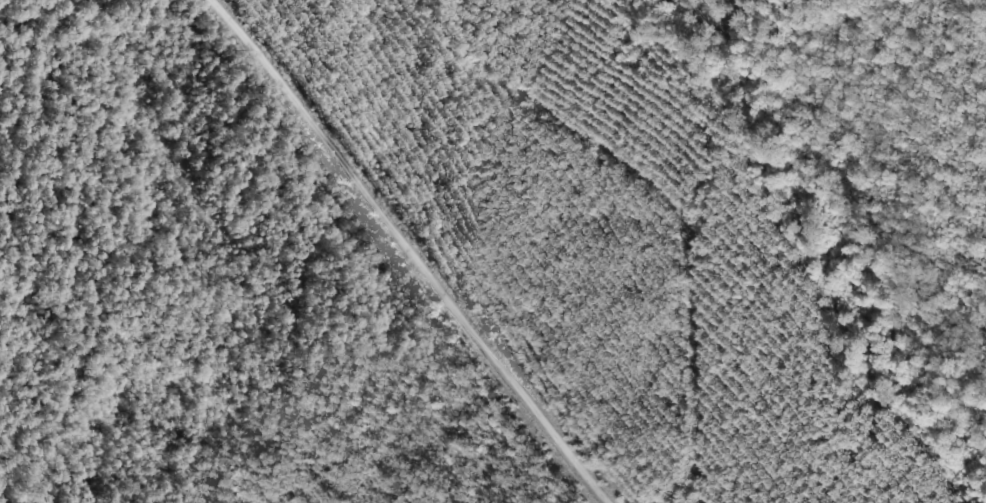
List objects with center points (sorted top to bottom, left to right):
road: (390, 249)

